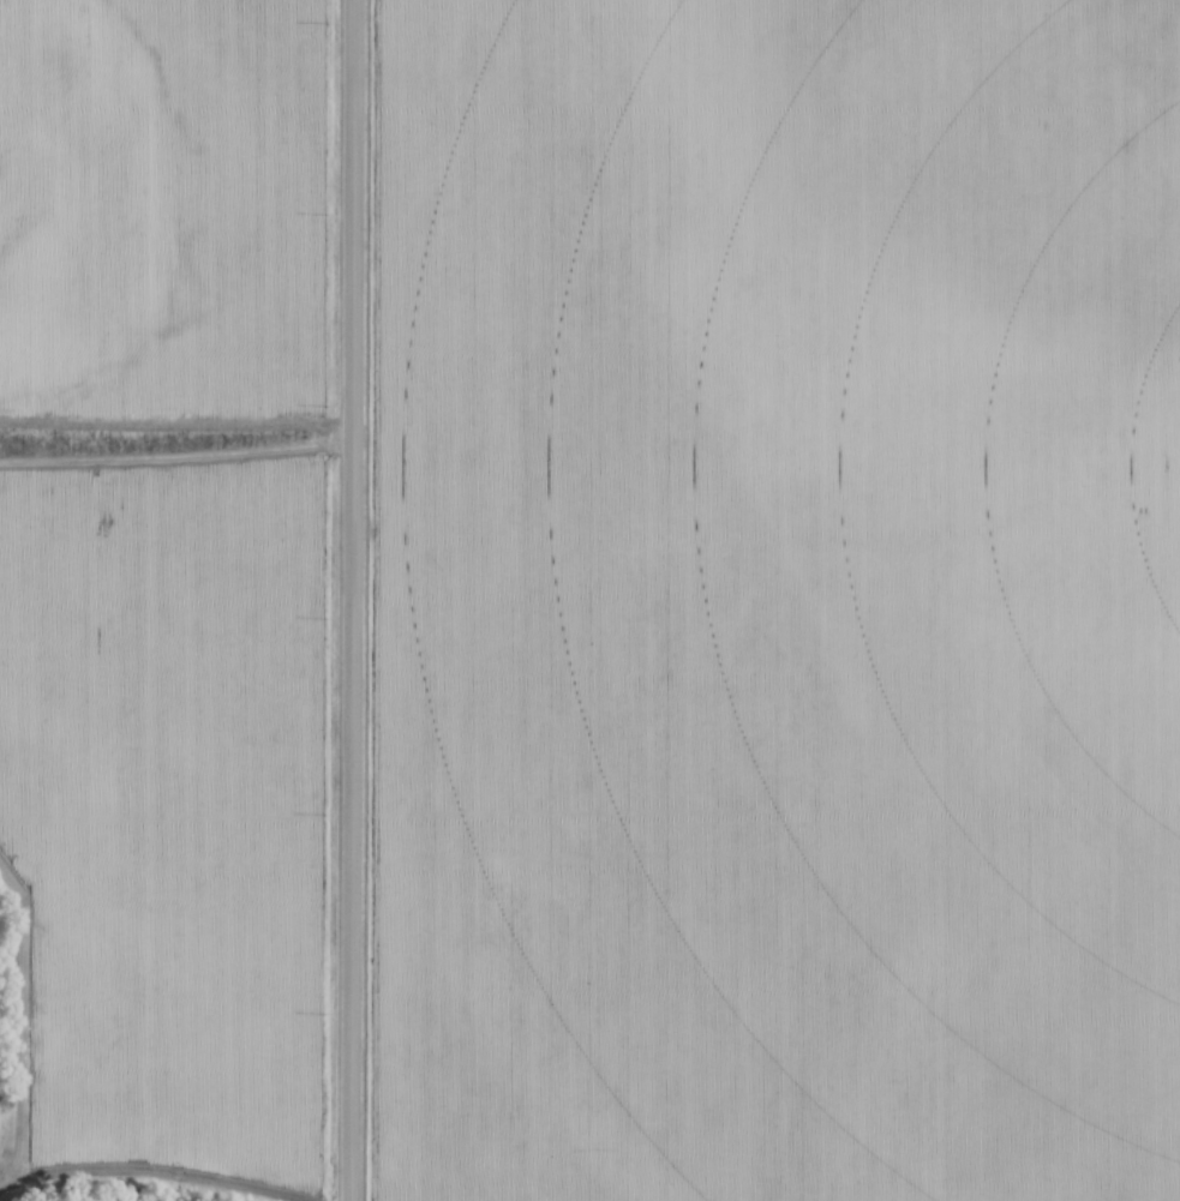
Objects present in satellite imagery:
crop: (160, 209)
road: (353, 600)
crop: (777, 600)
crop: (164, 806)

